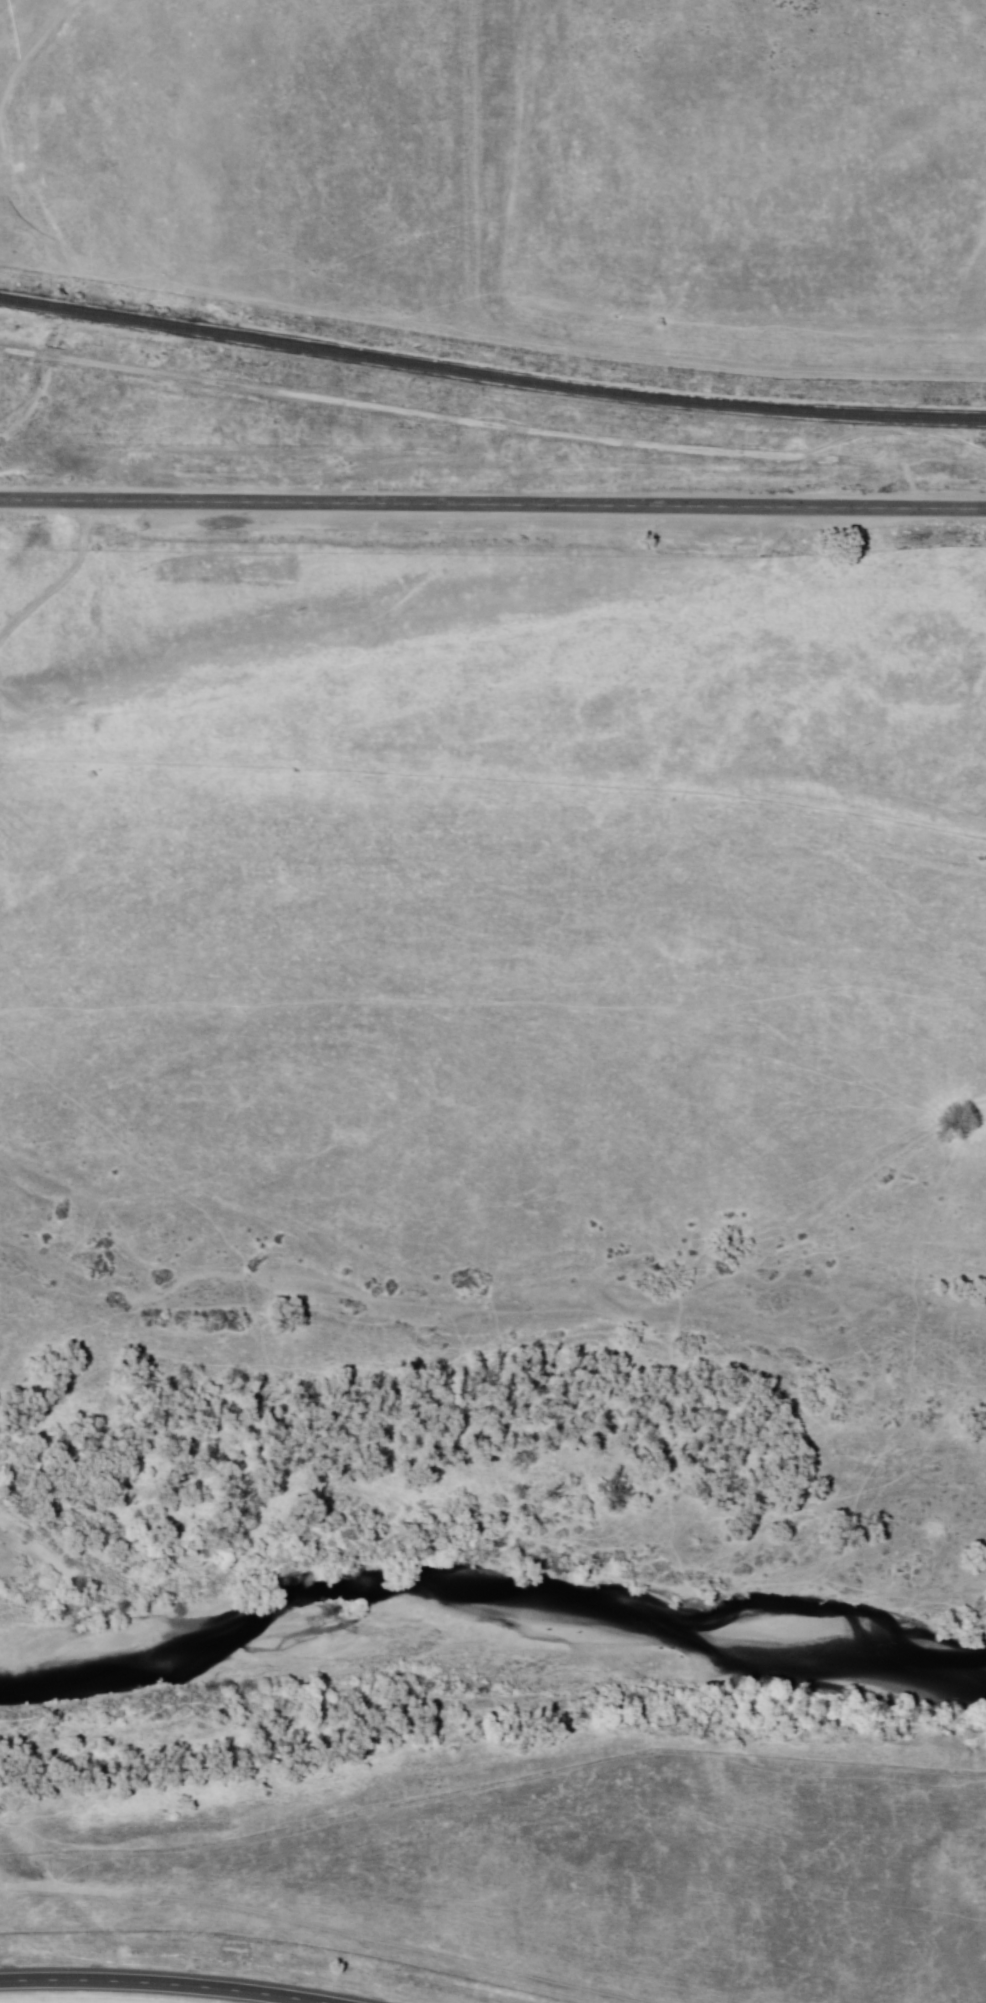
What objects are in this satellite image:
quarry: (747, 178)
road: (570, 345)
railway: (491, 379)
road: (360, 403)
road: (492, 510)
river: (29, 1536)
river: (466, 1592)
river: (109, 1595)
river: (256, 1606)
river: (788, 1638)
road: (324, 1927)
road: (166, 1981)

